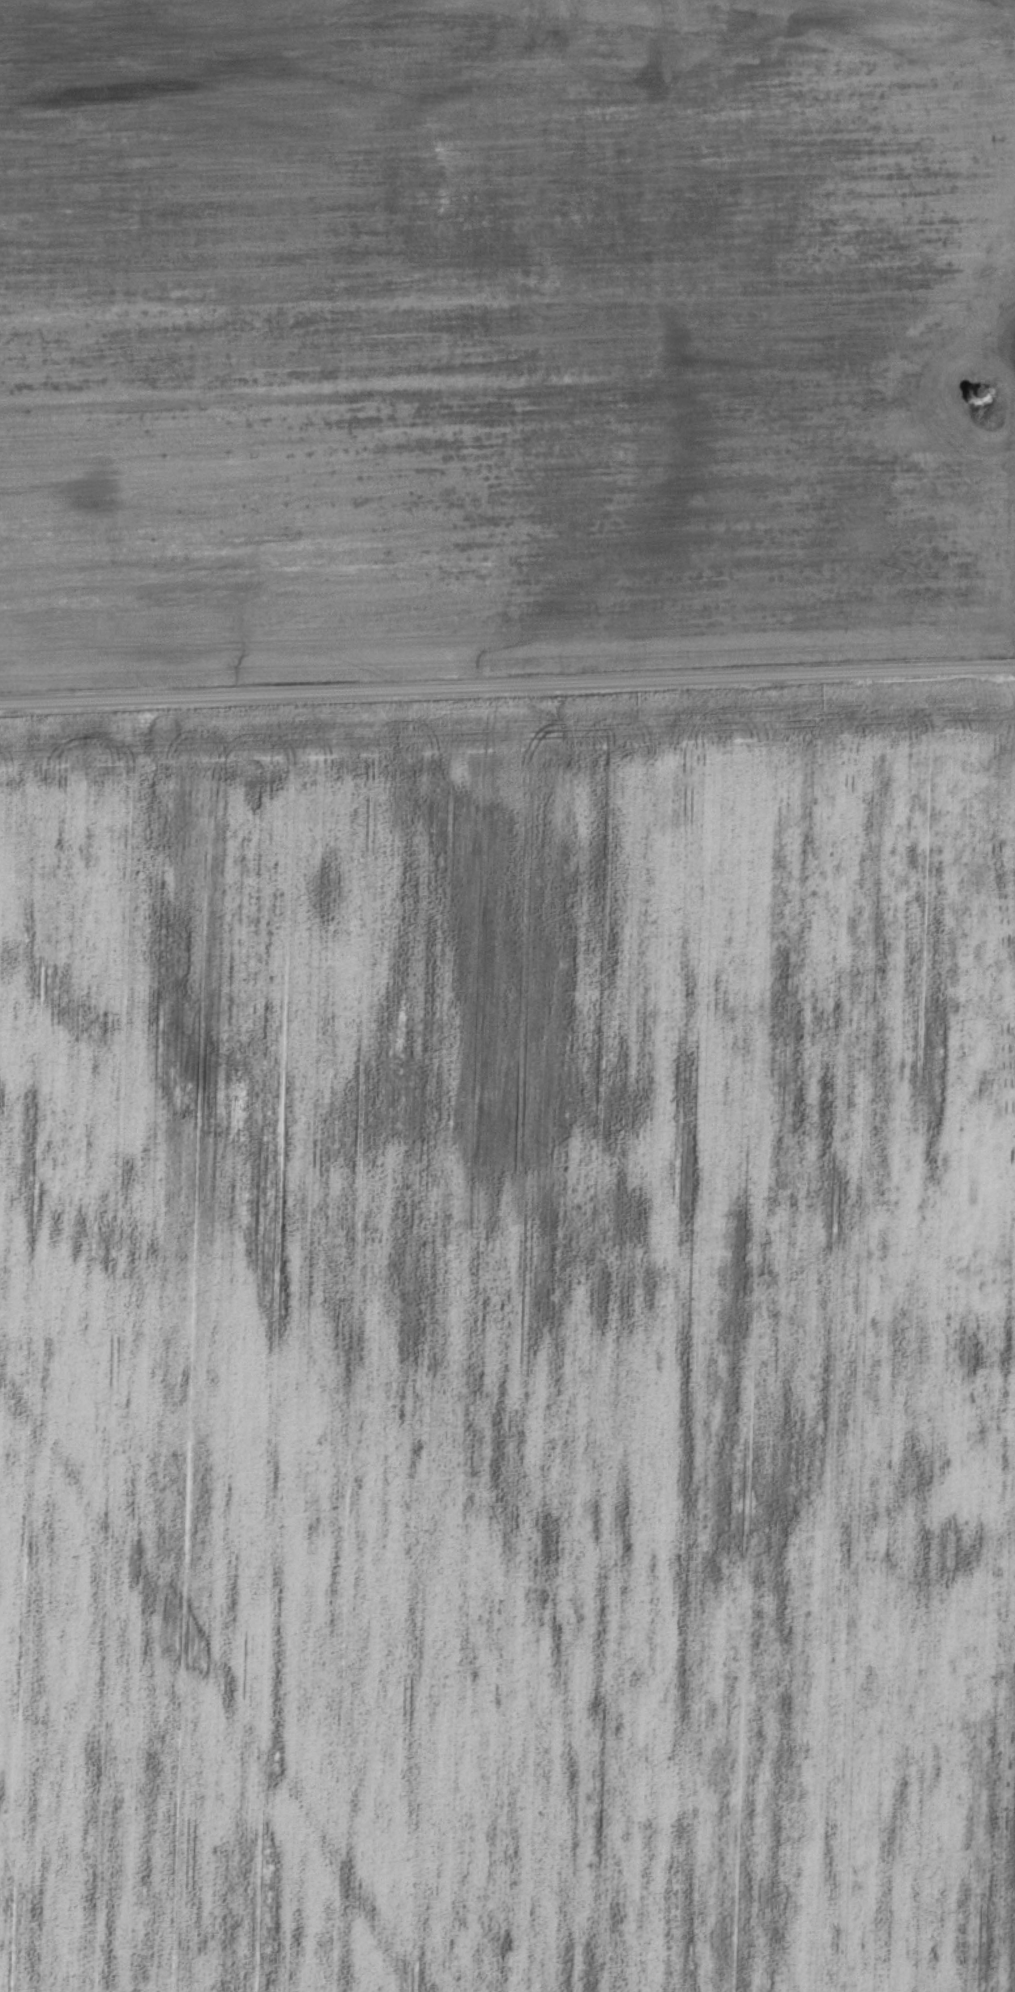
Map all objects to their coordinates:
crop: (502, 335)
road: (507, 683)
crop: (510, 1349)

